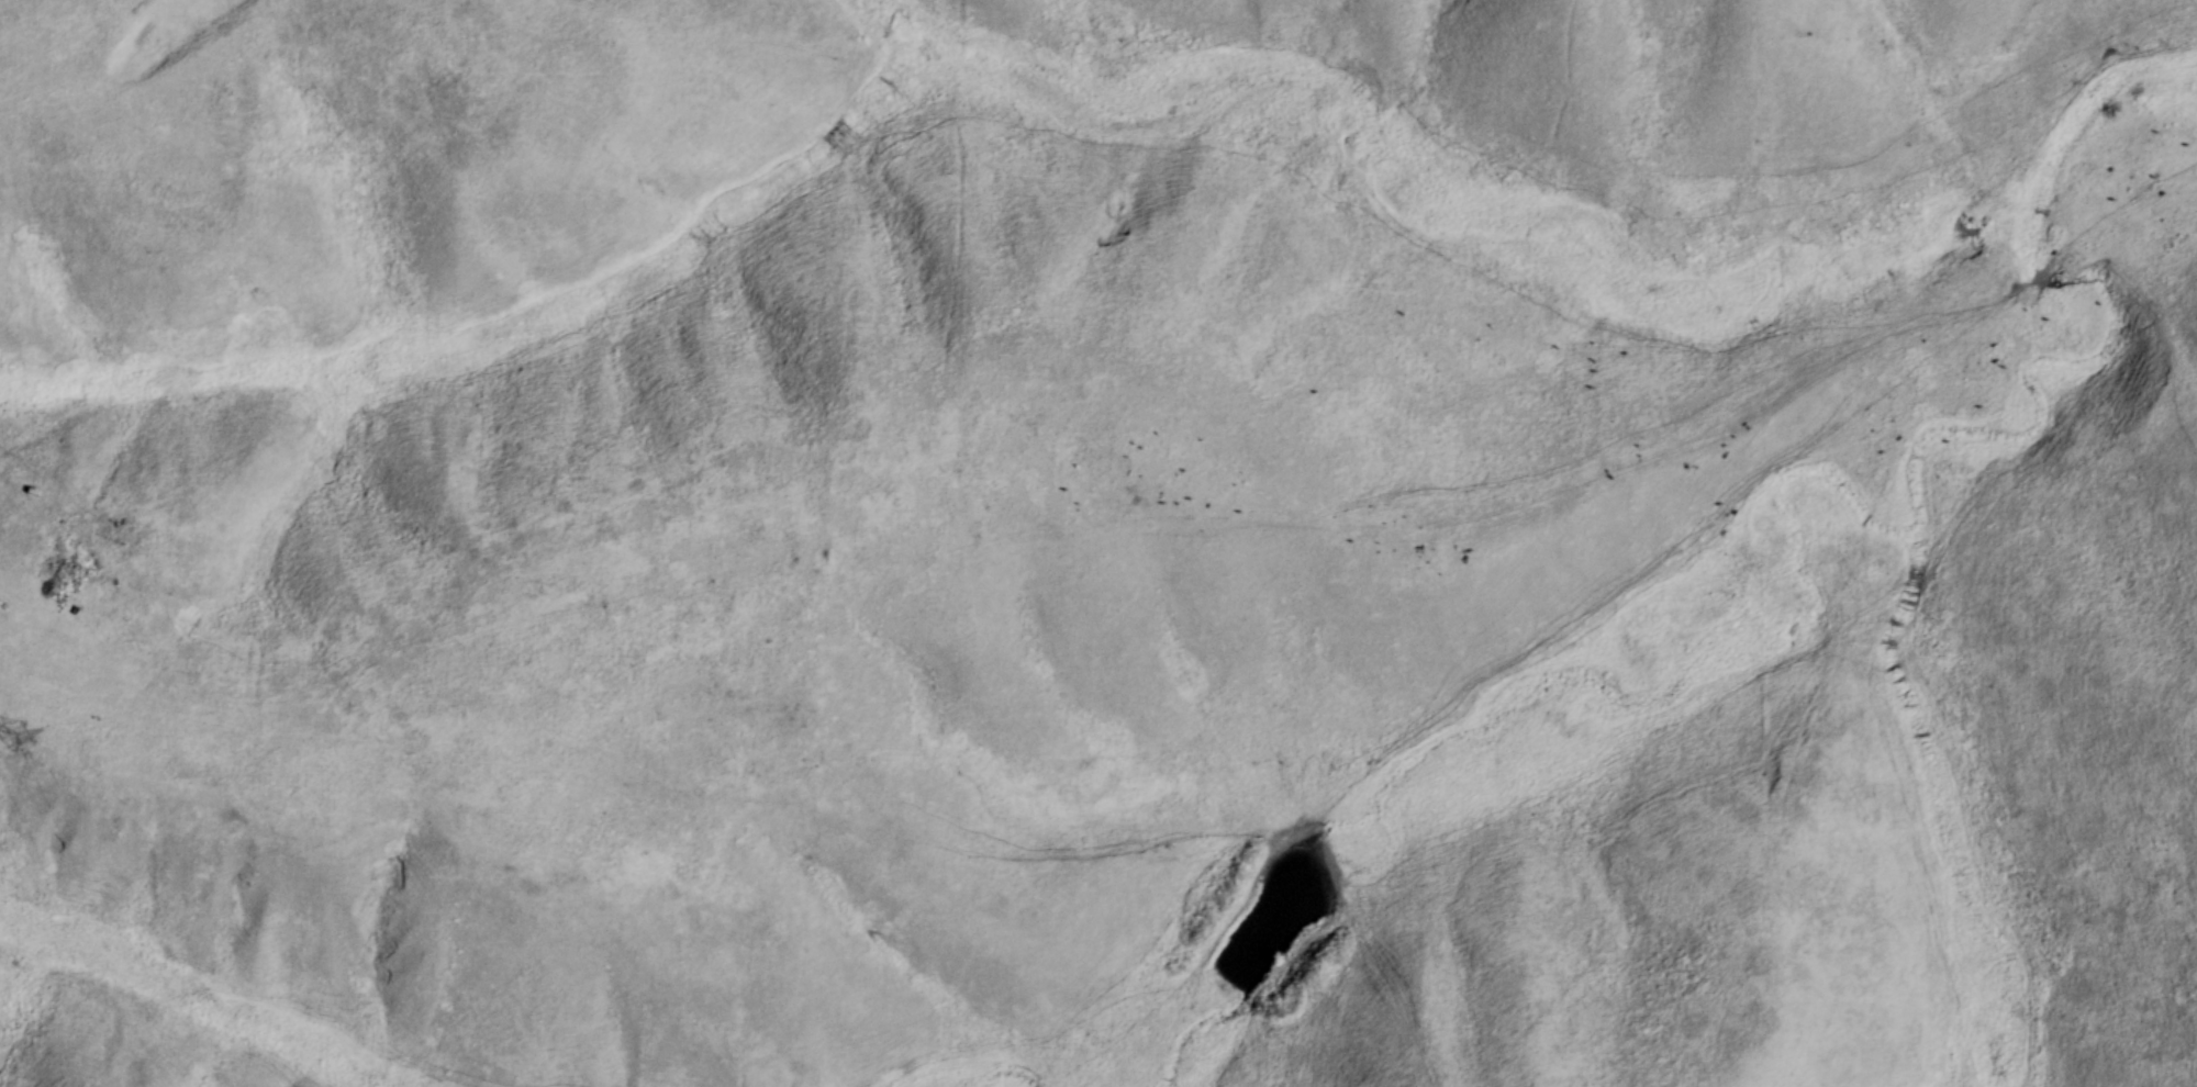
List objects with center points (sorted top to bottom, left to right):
power tower: (18, 743)
river: (1286, 945)

